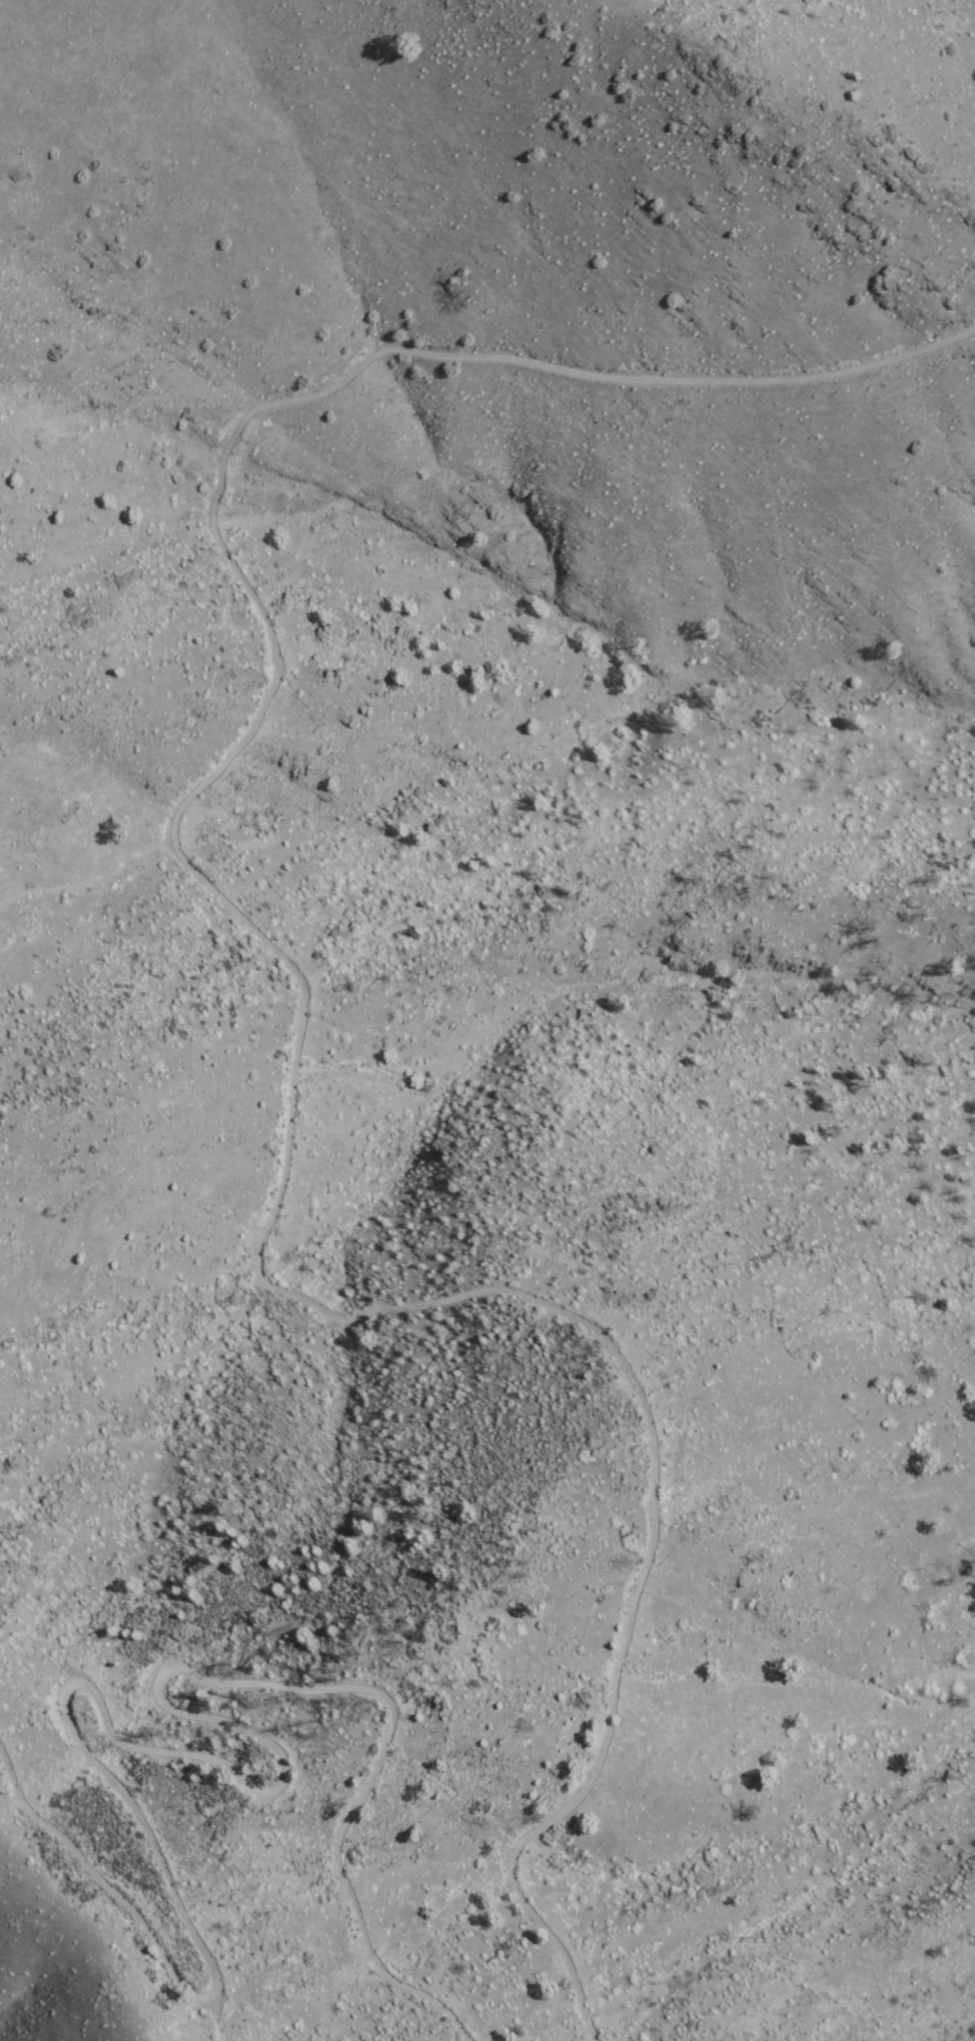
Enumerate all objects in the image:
road: (302, 968)
road: (223, 1757)

